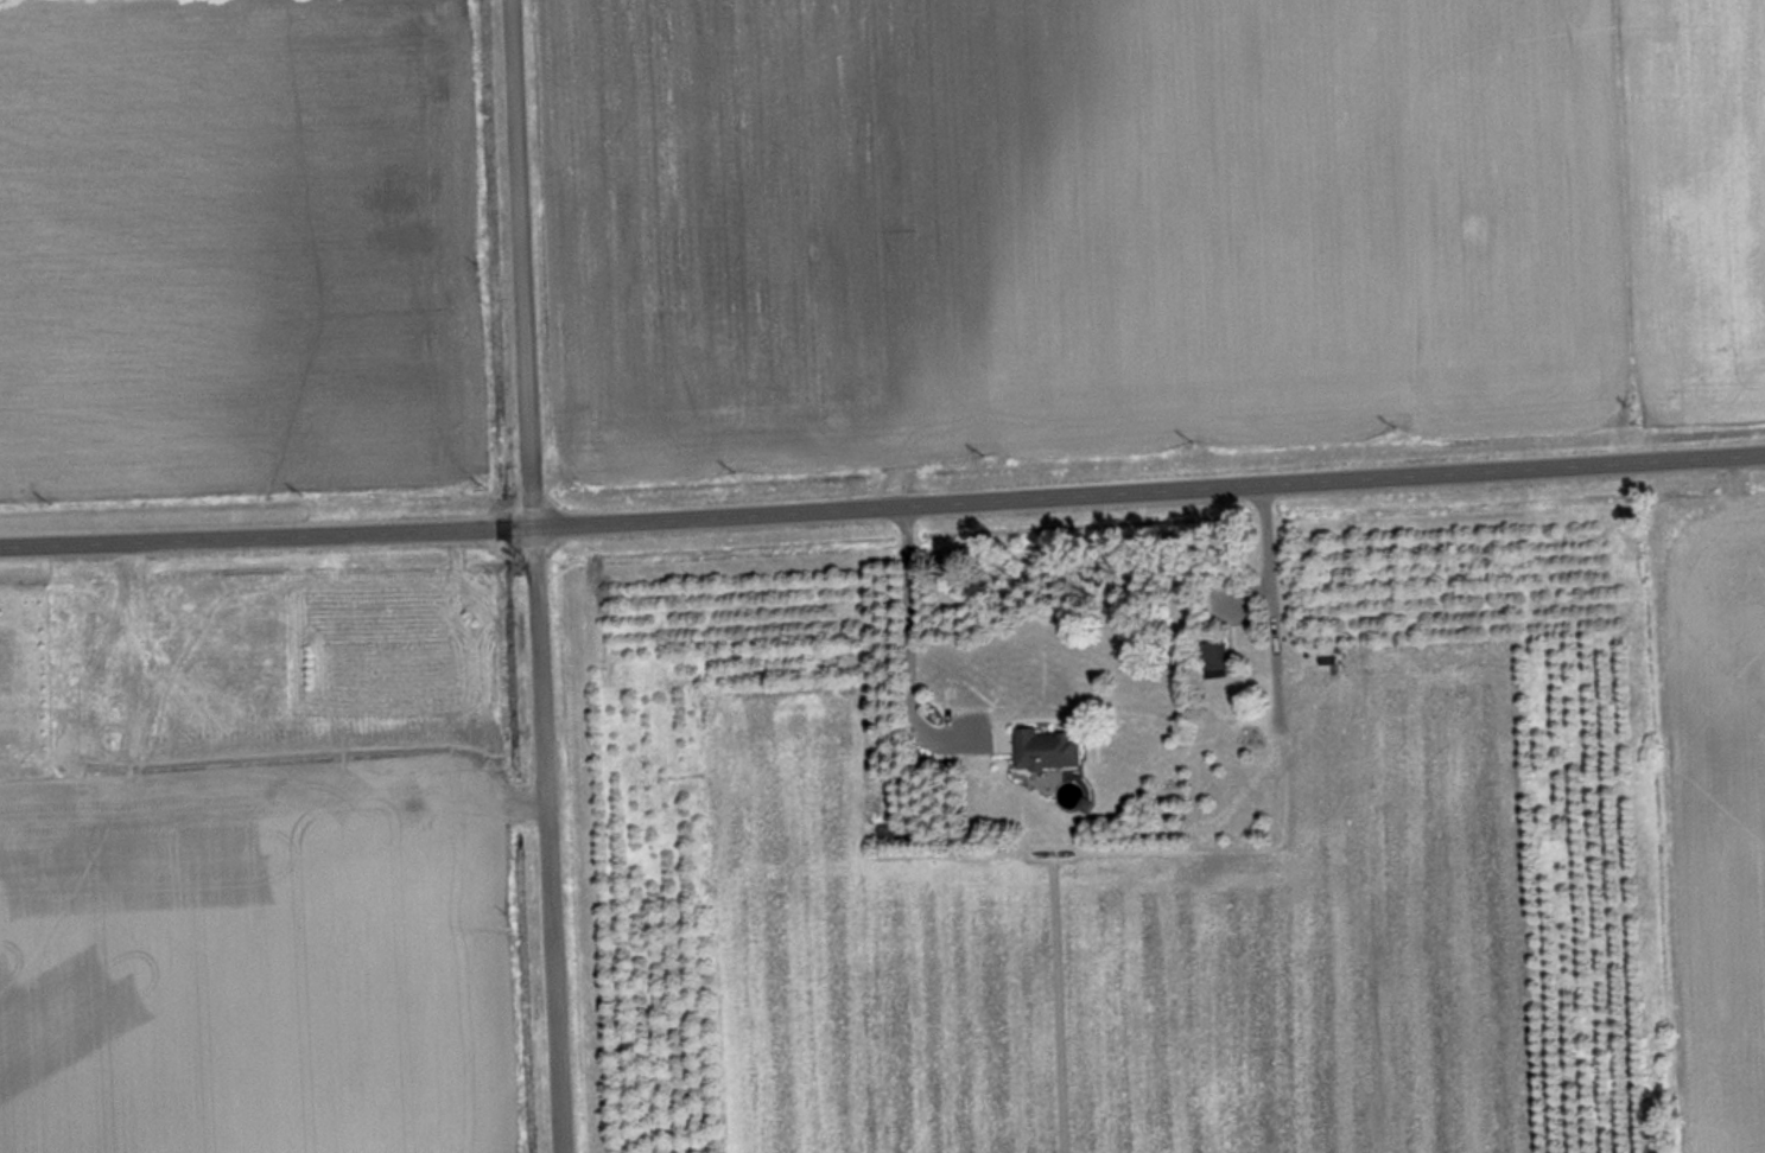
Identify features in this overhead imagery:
road: (882, 508)
road: (528, 576)
building: (1217, 656)
building: (1251, 733)
building: (1052, 750)

